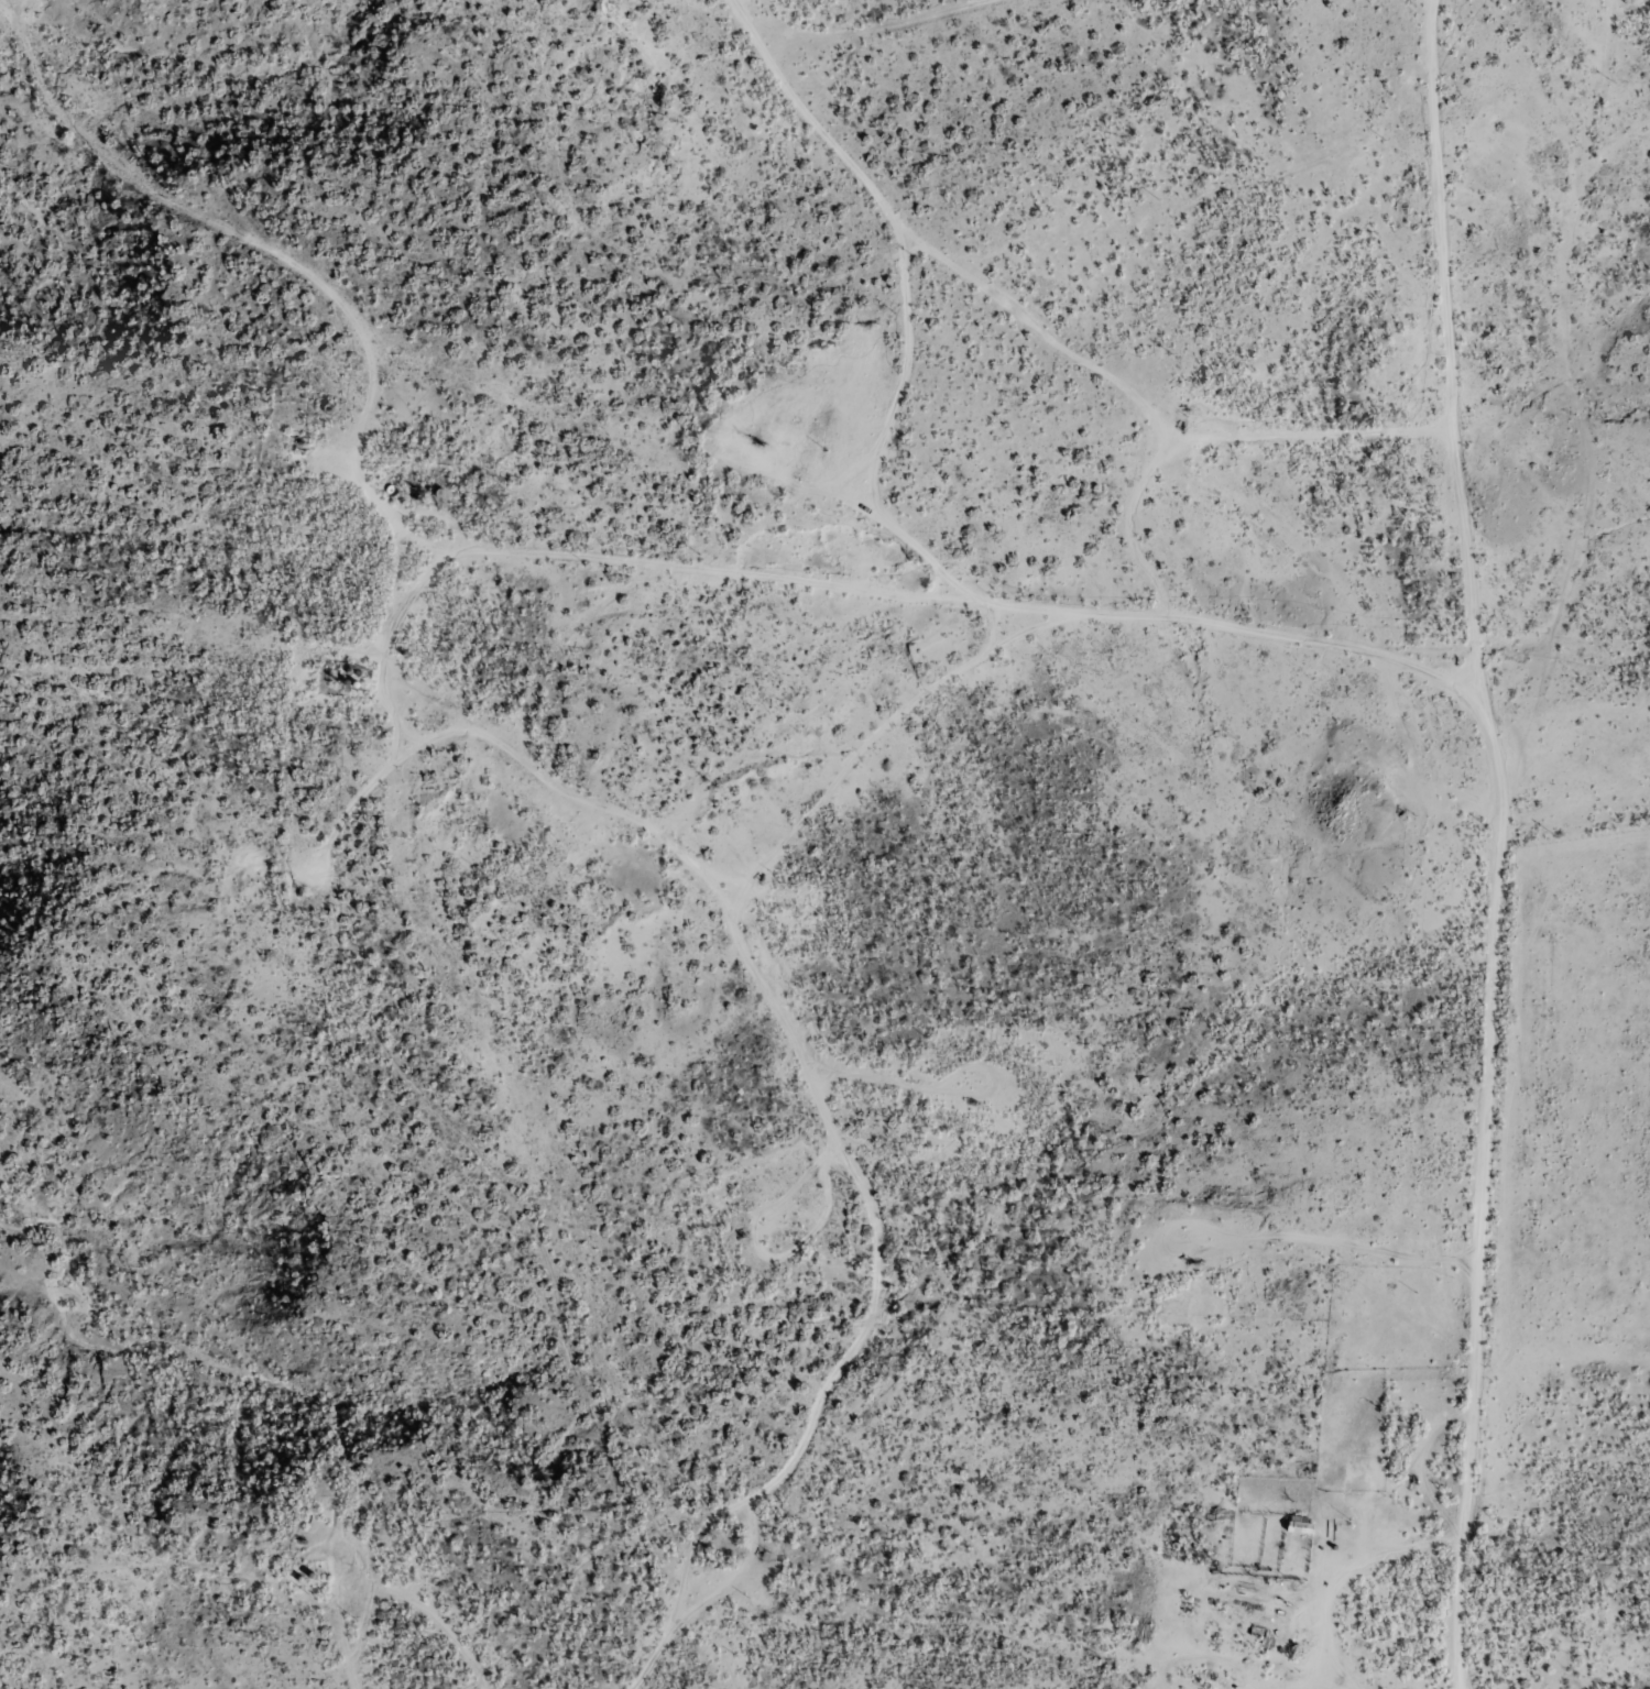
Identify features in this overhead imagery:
road: (1576, 2)
road: (1180, 48)
road: (893, 275)
road: (1464, 379)
road: (1569, 397)
road: (1165, 492)
road: (884, 568)
road: (598, 640)
road: (1080, 649)
road: (1562, 838)
building: (1301, 1524)

